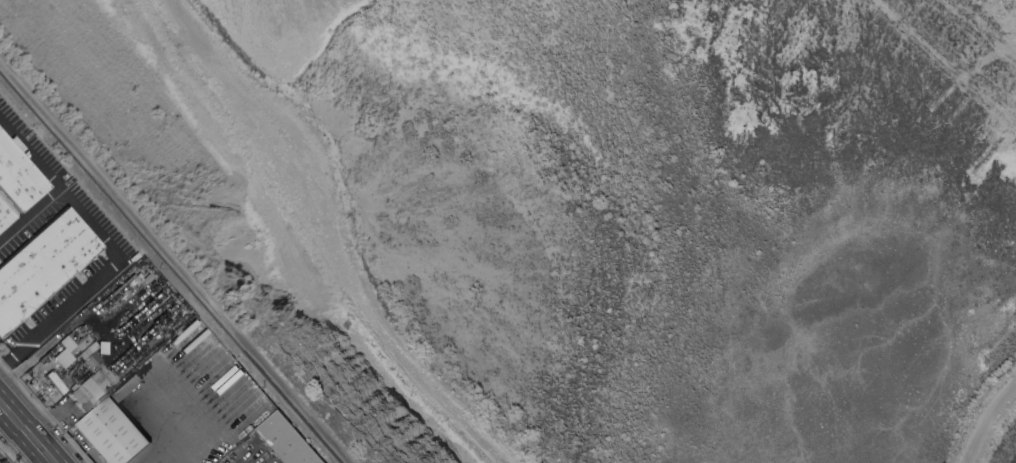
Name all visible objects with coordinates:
building: (18, 176)
road: (29, 213)
building: (5, 215)
quarry: (568, 215)
road: (330, 238)
road: (111, 248)
road: (177, 260)
building: (42, 265)
building: (71, 338)
building: (62, 357)
building: (54, 381)
building: (87, 391)
road: (2, 401)
road: (984, 415)
road: (30, 428)
building: (286, 440)
road: (243, 459)

